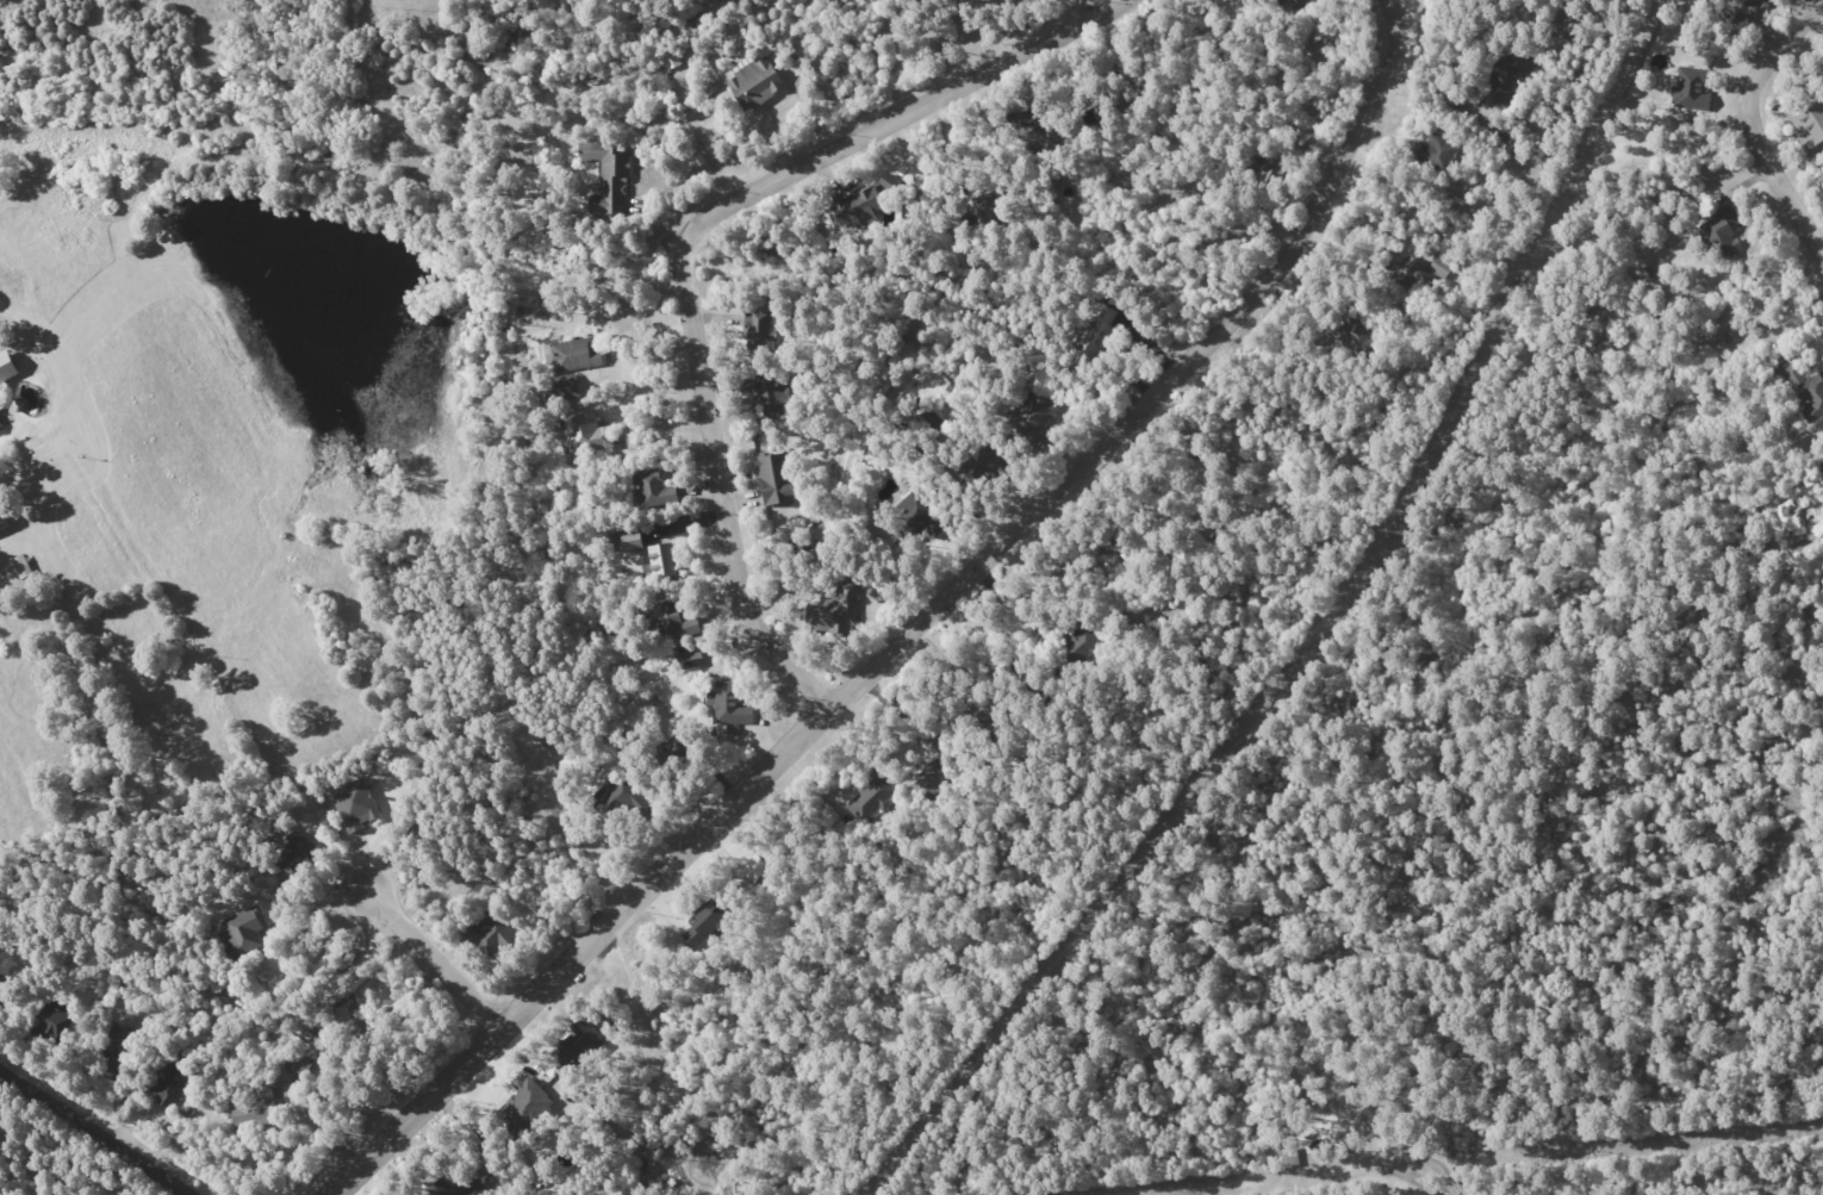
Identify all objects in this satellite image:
road: (1080, 11)
building: (668, 57)
building: (1507, 76)
building: (755, 83)
building: (1690, 89)
road: (1748, 122)
building: (1809, 124)
building: (1270, 172)
building: (606, 175)
building: (858, 206)
building: (1722, 229)
road: (689, 242)
building: (761, 329)
building: (575, 354)
building: (6, 368)
building: (1810, 396)
building: (770, 397)
building: (1, 421)
building: (586, 432)
building: (648, 486)
building: (915, 518)
building: (2, 522)
building: (630, 540)
building: (661, 560)
building: (834, 612)
building: (678, 623)
road: (915, 627)
building: (690, 659)
building: (729, 704)
building: (928, 782)
building: (870, 796)
building: (356, 804)
building: (297, 851)
building: (751, 869)
building: (704, 921)
building: (242, 933)
road: (424, 950)
building: (578, 1045)
building: (295, 1064)
building: (172, 1084)
building: (531, 1100)
building: (251, 1109)
road: (93, 1134)

